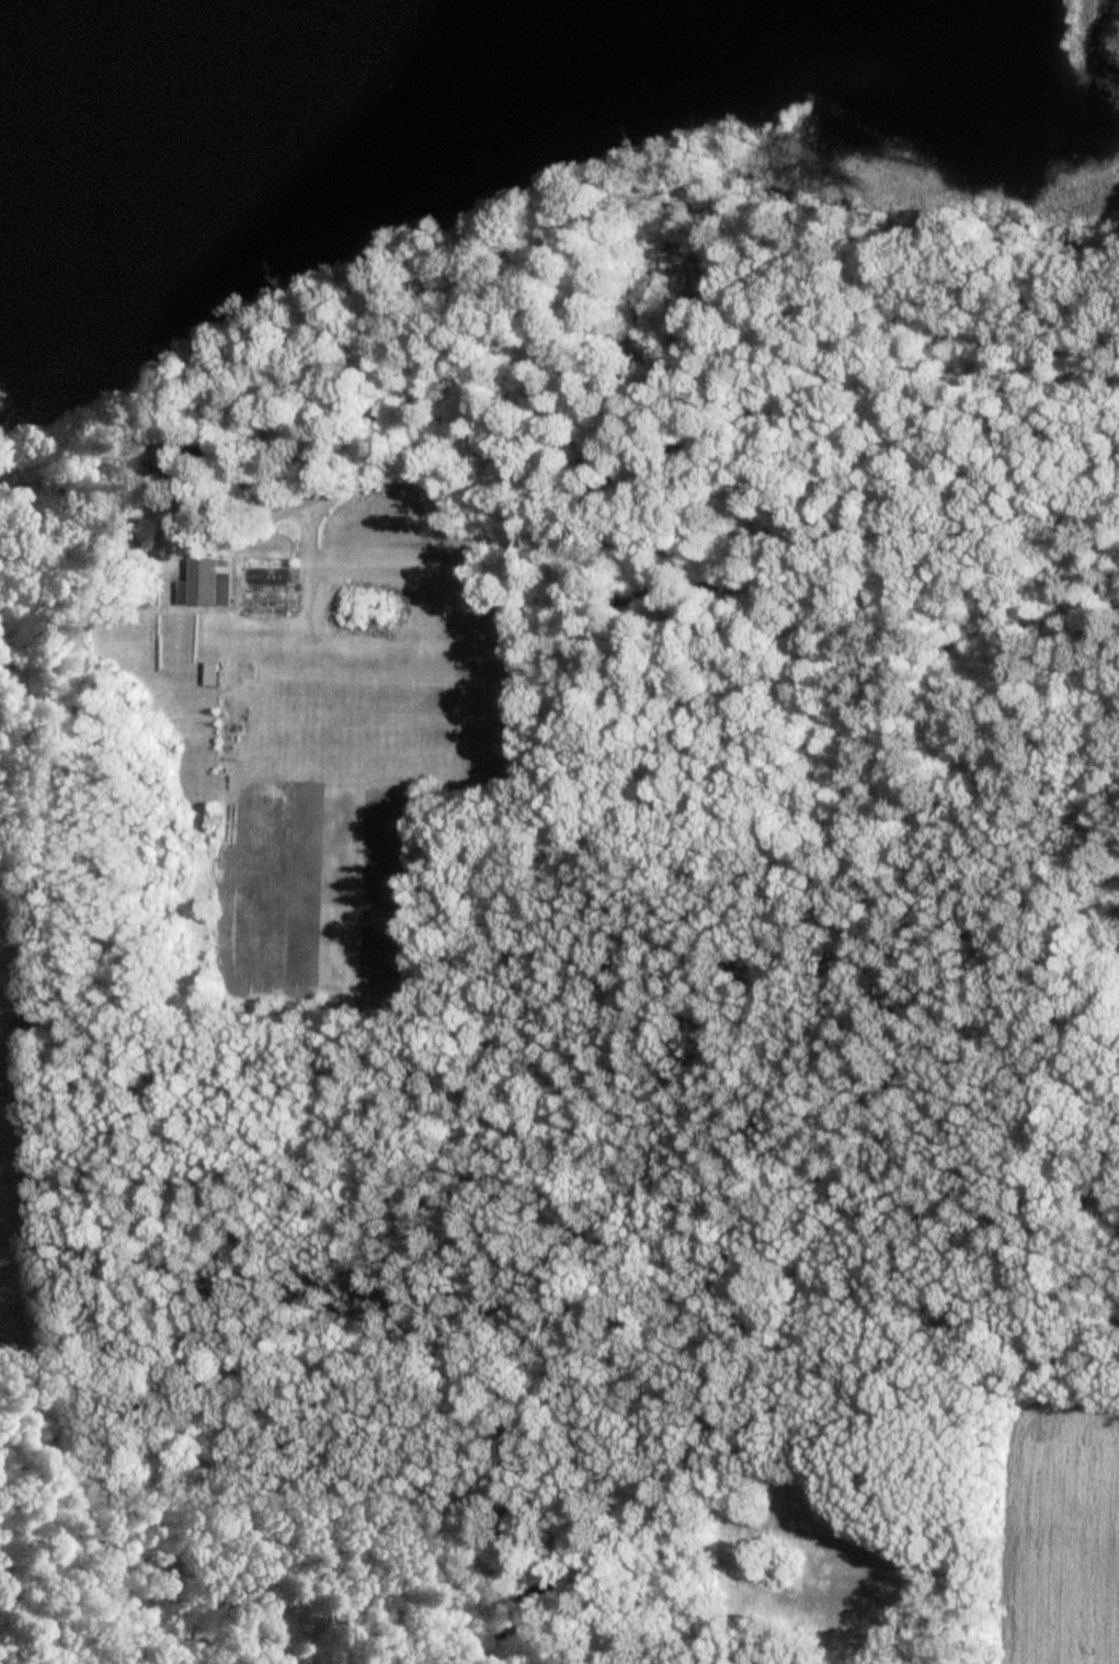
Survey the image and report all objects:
building: (9, 510)
building: (163, 517)
building: (205, 584)
road: (643, 592)
building: (208, 675)

